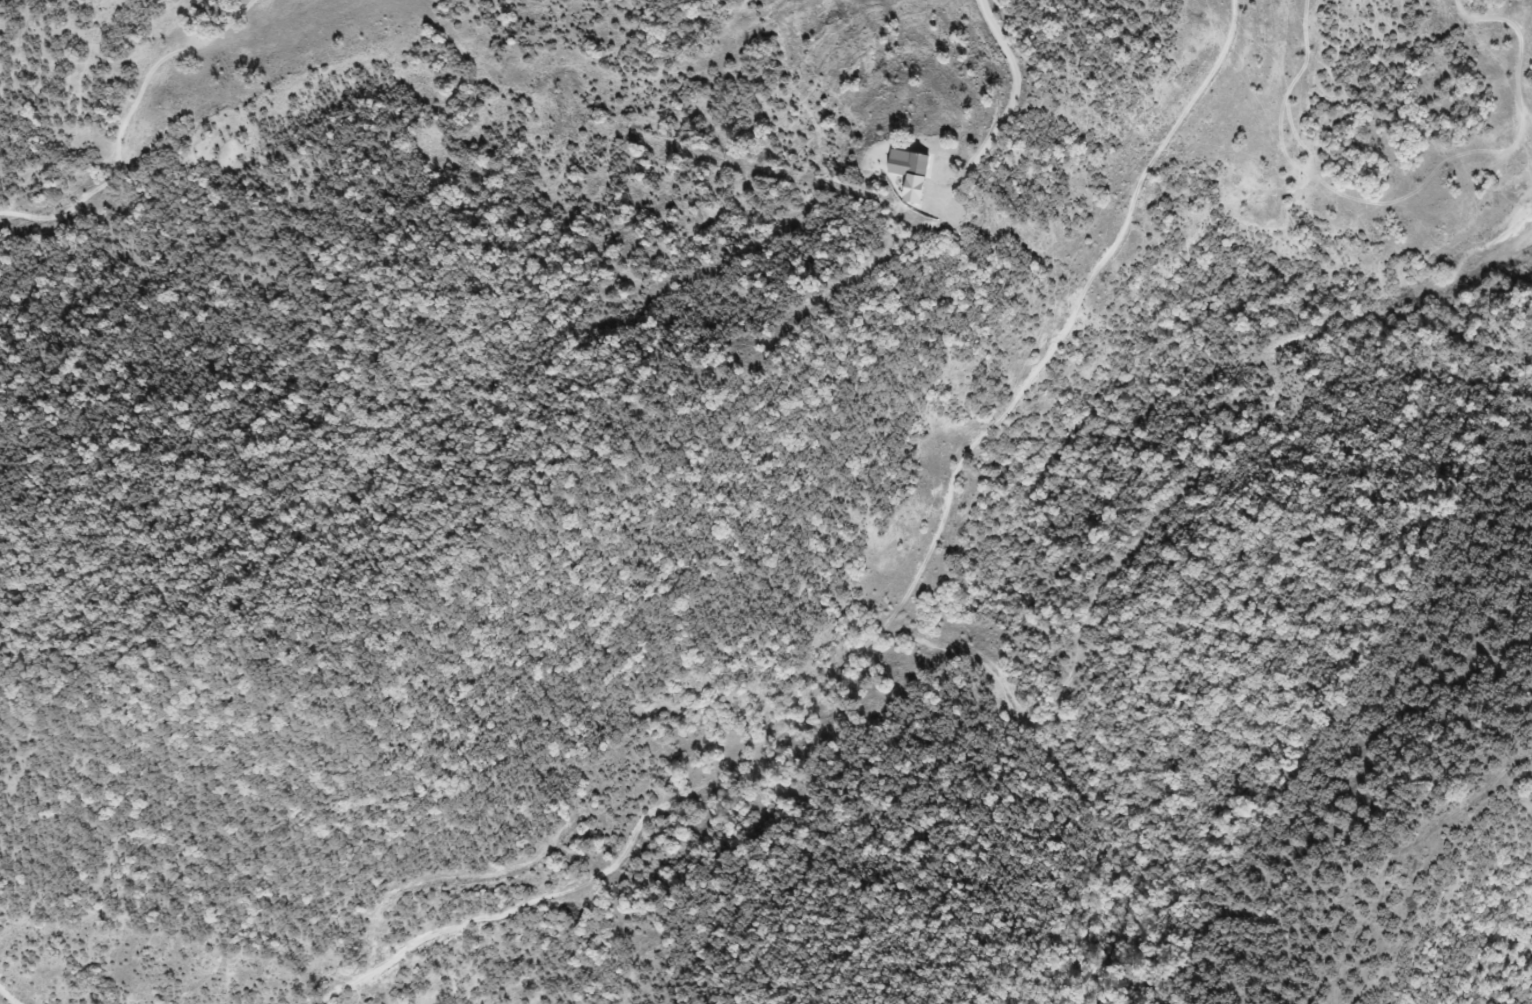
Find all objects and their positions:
building: (900, 169)

